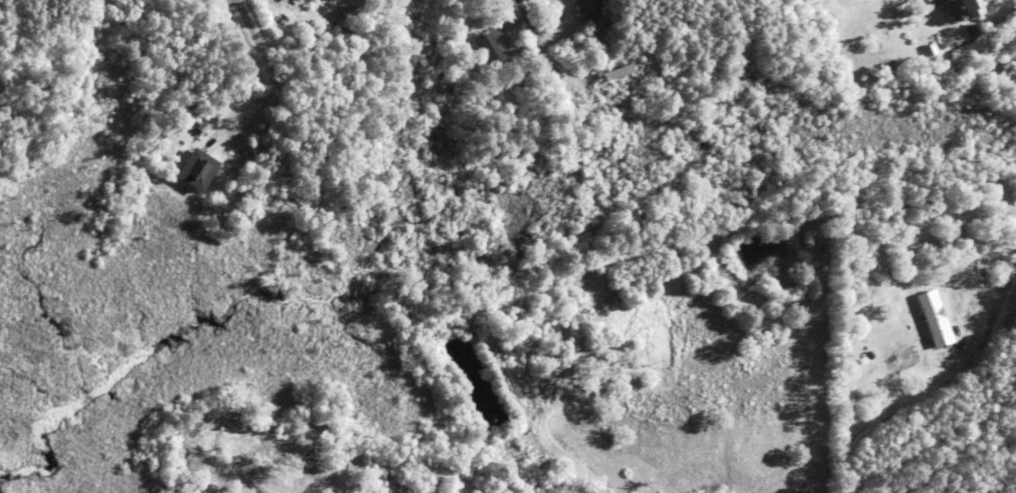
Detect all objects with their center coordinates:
building: (904, 6)
building: (963, 9)
building: (593, 12)
building: (477, 18)
building: (828, 19)
building: (970, 29)
building: (217, 36)
building: (937, 42)
building: (488, 49)
road: (962, 50)
road: (893, 54)
building: (621, 57)
building: (202, 126)
building: (210, 133)
building: (197, 168)
building: (525, 313)
building: (934, 319)
building: (665, 341)
building: (869, 355)
building: (951, 361)

